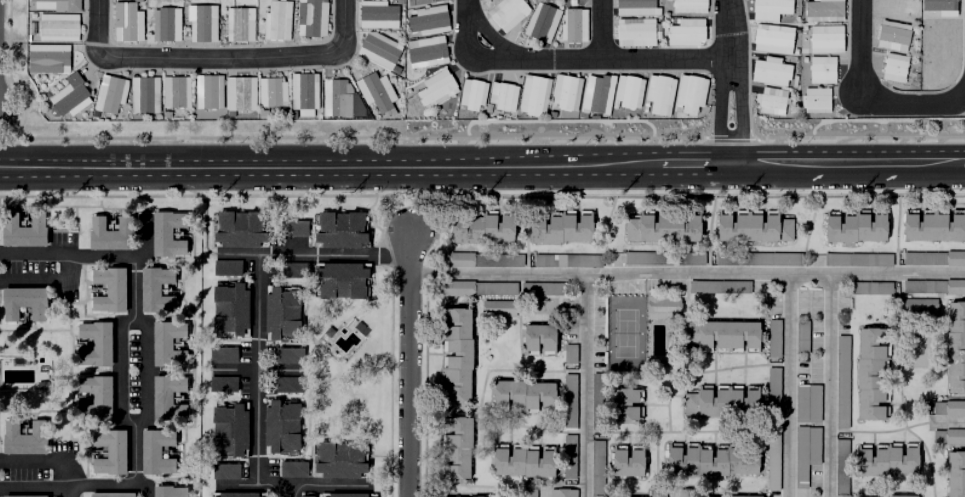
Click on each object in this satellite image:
building: (427, 2)
building: (685, 5)
building: (71, 6)
building: (635, 8)
building: (766, 8)
building: (893, 8)
building: (820, 9)
building: (506, 14)
building: (376, 16)
building: (310, 19)
building: (276, 22)
building: (427, 22)
building: (125, 24)
building: (540, 24)
building: (200, 25)
building: (164, 26)
building: (237, 26)
building: (56, 28)
building: (572, 28)
road: (344, 29)
building: (681, 29)
road: (95, 30)
road: (602, 30)
building: (889, 32)
building: (633, 34)
building: (769, 36)
building: (822, 37)
road: (860, 49)
building: (377, 51)
building: (425, 54)
road: (220, 59)
building: (47, 60)
road: (567, 60)
building: (891, 65)
building: (819, 67)
building: (766, 68)
road: (729, 81)
building: (435, 91)
building: (688, 91)
building: (656, 92)
building: (176, 93)
building: (207, 93)
building: (303, 93)
building: (375, 93)
building: (270, 94)
building: (565, 94)
building: (626, 94)
building: (239, 95)
building: (143, 96)
building: (533, 96)
building: (595, 96)
building: (109, 97)
building: (471, 97)
building: (812, 97)
building: (68, 98)
building: (502, 98)
building: (768, 99)
road: (912, 99)
building: (336, 100)
building: (262, 115)
road: (852, 162)
road: (928, 162)
road: (963, 162)
road: (695, 163)
road: (769, 163)
road: (331, 164)
building: (659, 224)
building: (854, 224)
building: (21, 226)
building: (237, 226)
building: (291, 226)
building: (336, 226)
building: (751, 226)
building: (933, 226)
building: (108, 229)
building: (164, 229)
building: (481, 232)
building: (559, 233)
road: (333, 252)
building: (933, 256)
building: (663, 257)
building: (754, 257)
building: (856, 257)
building: (482, 261)
building: (567, 261)
building: (225, 265)
building: (292, 268)
road: (686, 274)
building: (341, 280)
building: (717, 284)
building: (934, 285)
building: (105, 286)
building: (152, 286)
building: (868, 286)
building: (477, 289)
building: (541, 290)
building: (22, 298)
building: (659, 303)
building: (916, 304)
building: (228, 305)
building: (281, 309)
building: (497, 309)
building: (718, 332)
building: (799, 334)
building: (771, 336)
building: (92, 340)
building: (165, 340)
road: (258, 340)
building: (539, 340)
building: (954, 344)
building: (222, 353)
building: (289, 354)
building: (570, 355)
building: (457, 357)
road: (406, 365)
building: (868, 370)
road: (132, 371)
building: (839, 380)
building: (288, 382)
building: (222, 383)
road: (789, 385)
road: (828, 385)
road: (588, 386)
building: (771, 390)
building: (91, 395)
building: (165, 395)
building: (525, 397)
building: (717, 400)
building: (804, 401)
building: (597, 402)
building: (568, 403)
building: (947, 406)
building: (625, 408)
building: (280, 425)
building: (226, 426)
building: (947, 434)
building: (22, 435)
building: (596, 445)
building: (106, 449)
building: (153, 449)
building: (456, 449)
building: (802, 450)
building: (769, 456)
building: (706, 457)
building: (882, 458)
building: (339, 459)
building: (568, 459)
building: (521, 467)
building: (625, 467)
building: (838, 467)
building: (293, 469)
building: (224, 470)
building: (952, 472)
road: (326, 481)
road: (255, 483)
building: (166, 490)
building: (654, 491)
road: (69, 492)
building: (109, 493)
building: (233, 493)
building: (527, 493)
building: (562, 493)
building: (685, 493)
building: (21, 495)
building: (345, 495)
building: (726, 495)
building: (305, 496)
building: (877, 496)

